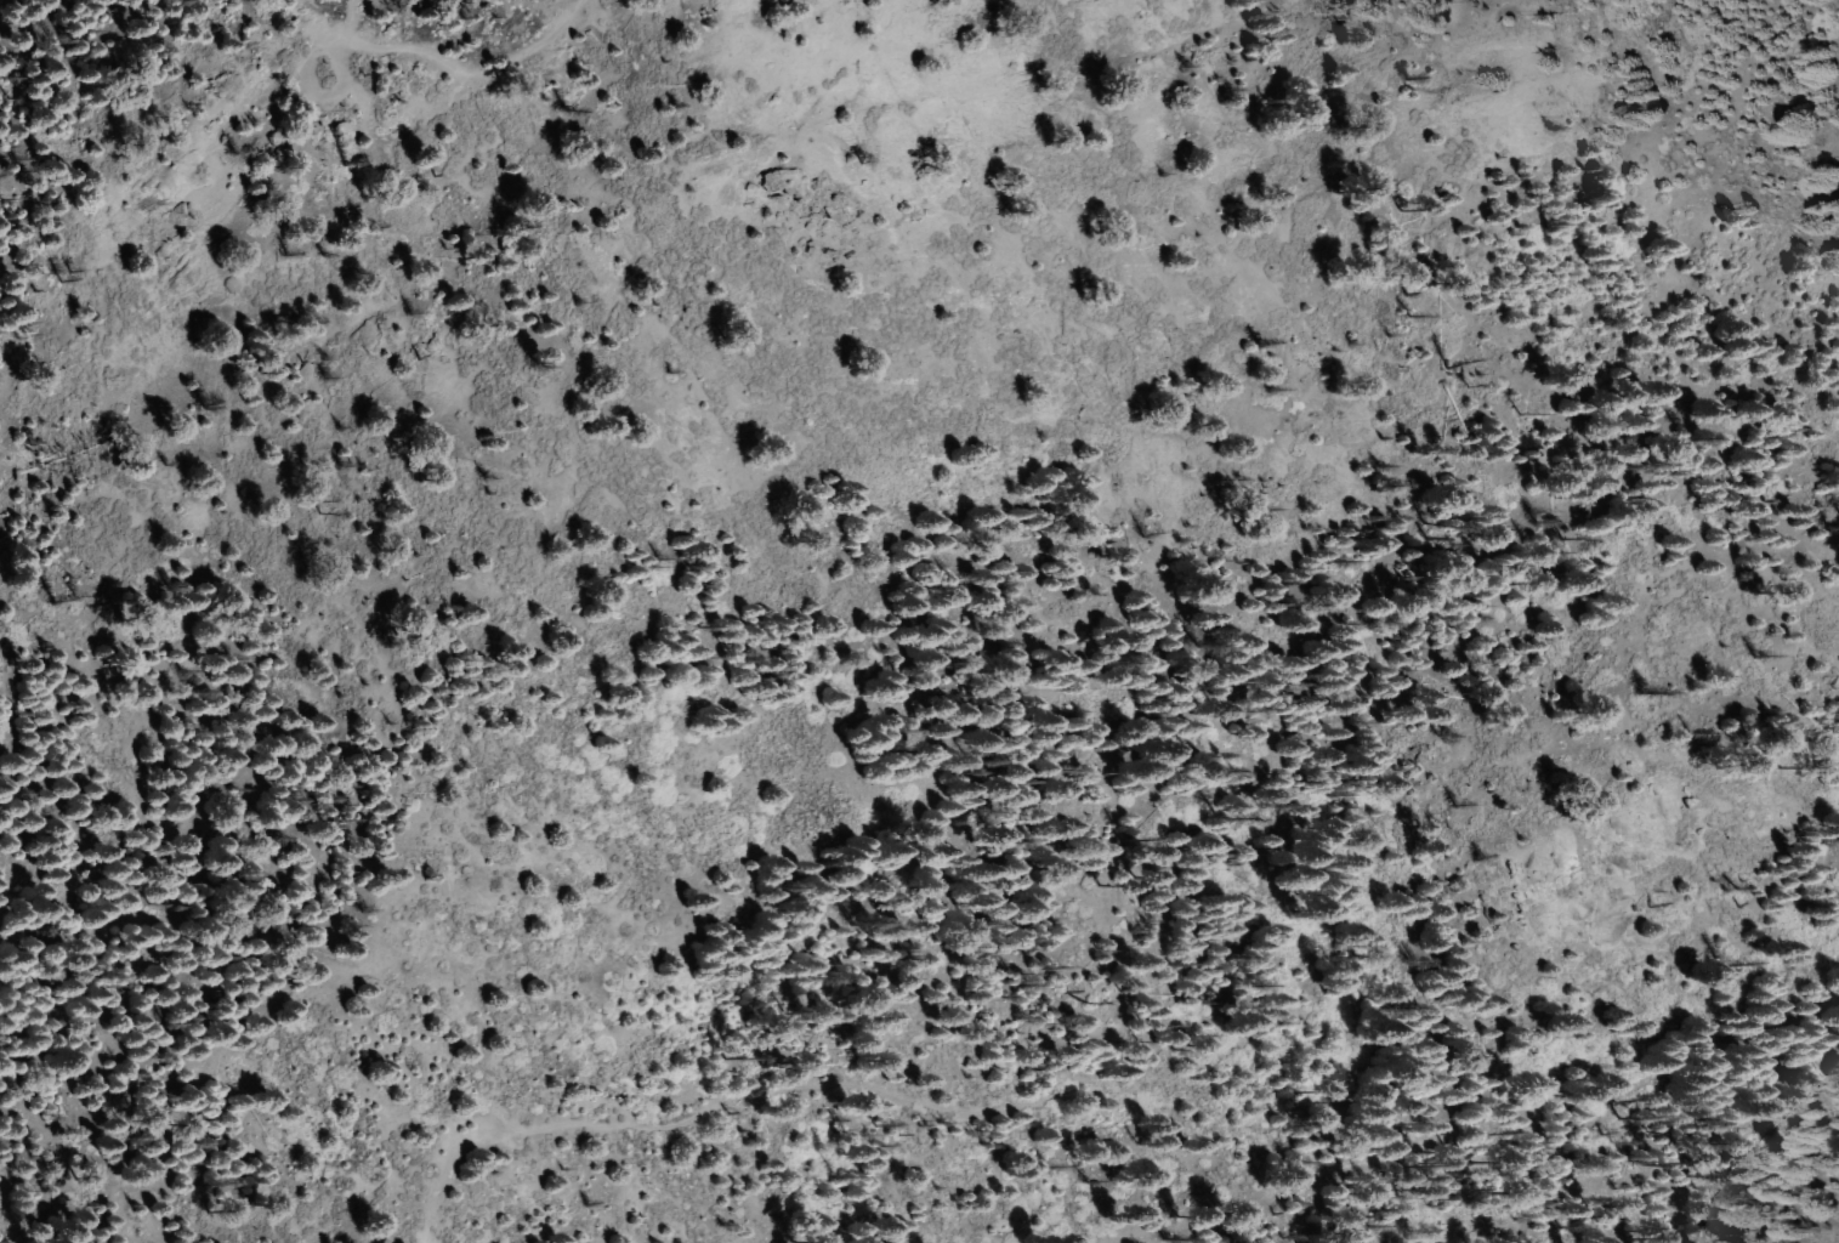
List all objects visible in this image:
road: (310, 21)
road: (466, 74)
road: (320, 93)

